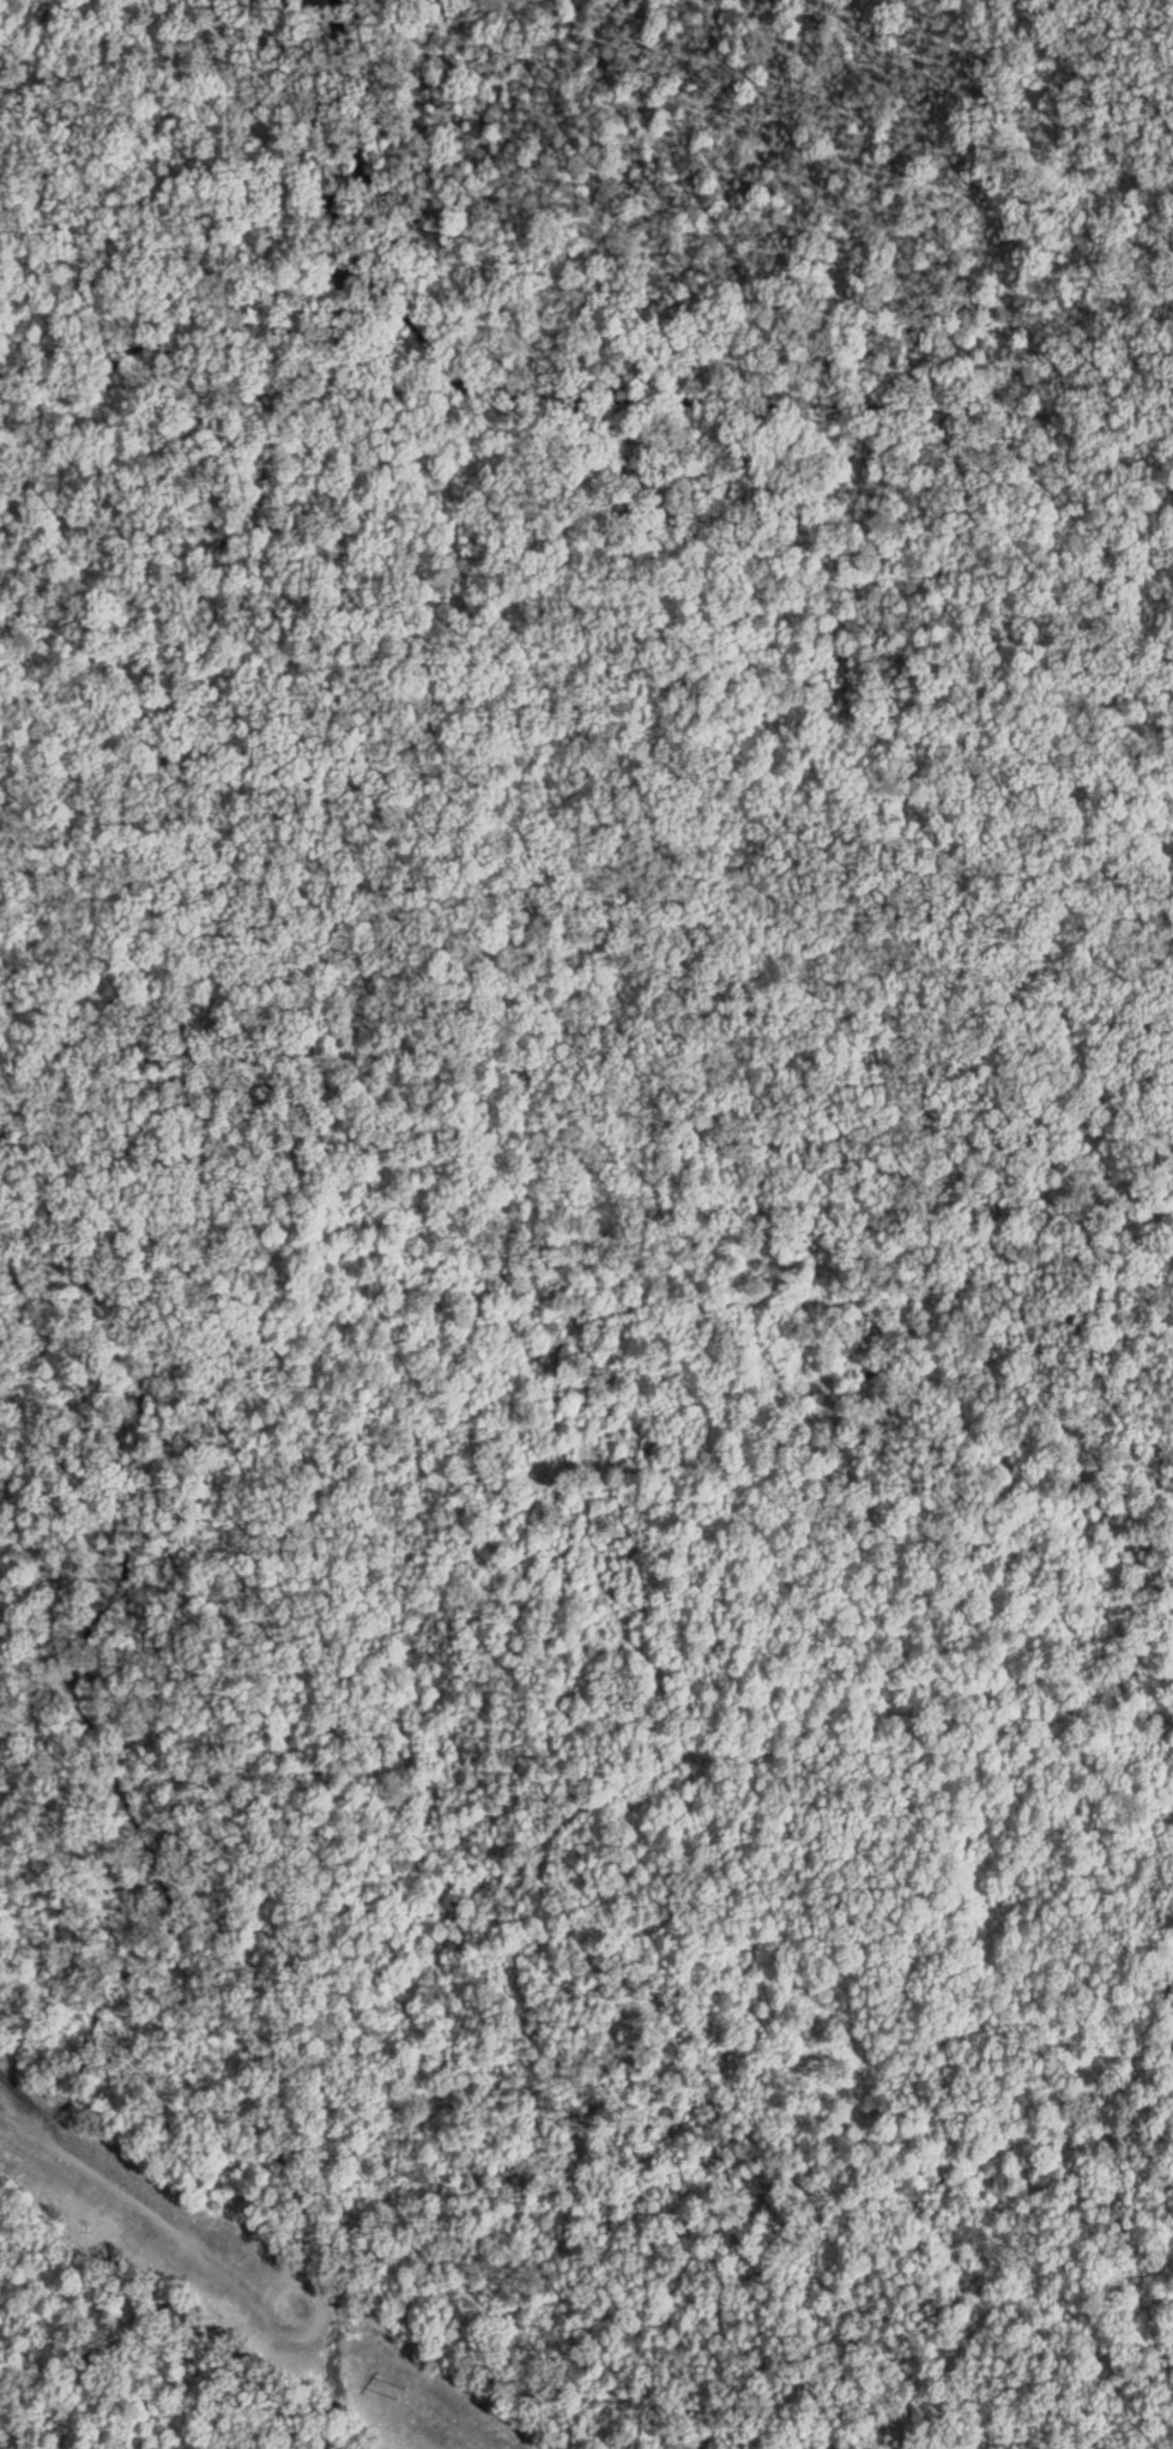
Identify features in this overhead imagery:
power tower: (399, 2388)

